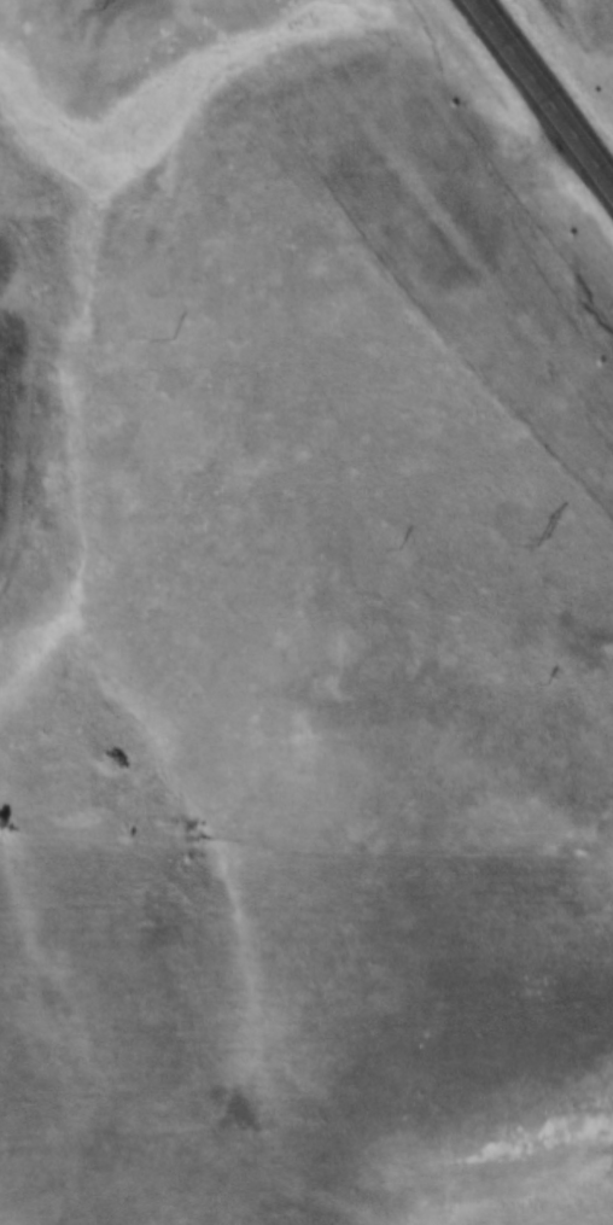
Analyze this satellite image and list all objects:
power tower: (97, 7)
road: (547, 89)
power tower: (531, 543)

